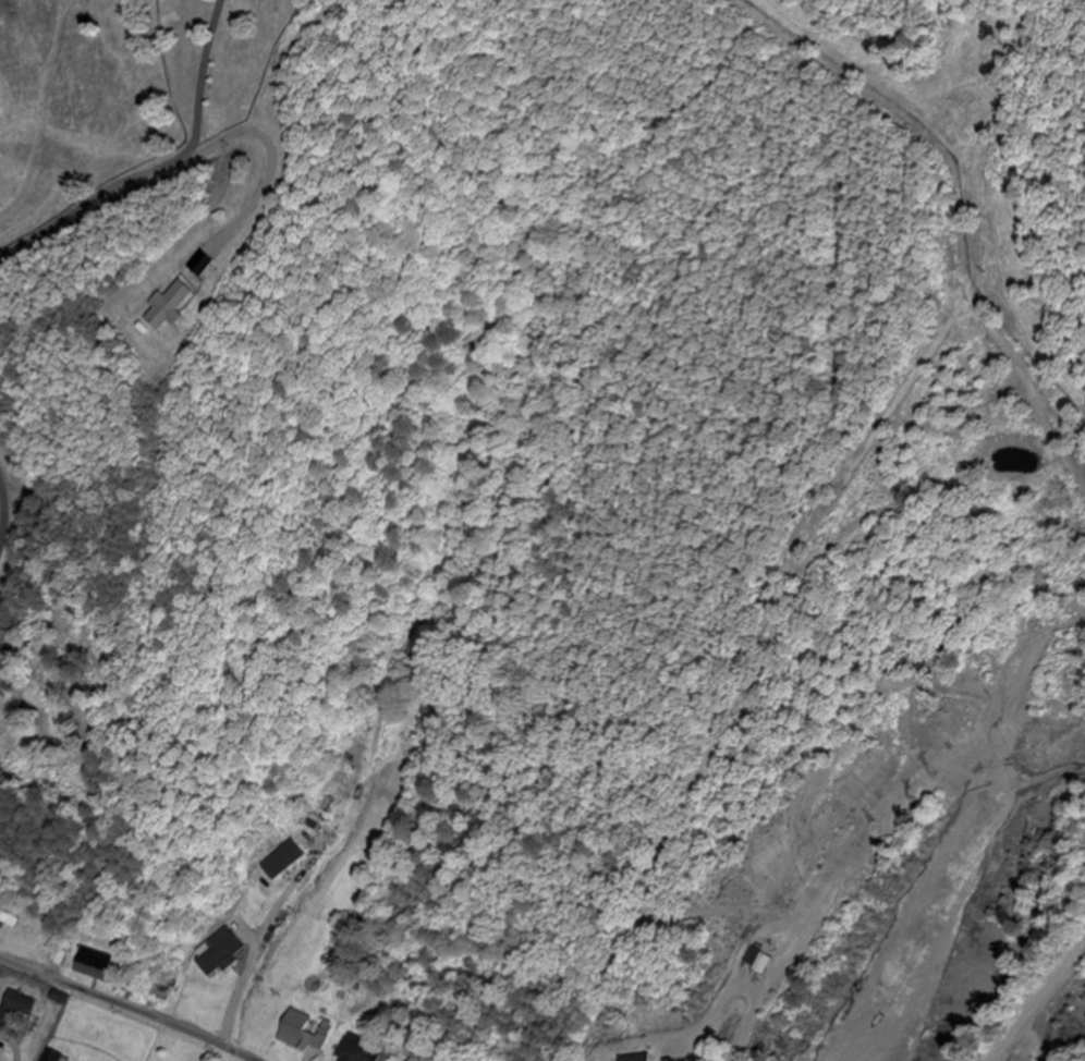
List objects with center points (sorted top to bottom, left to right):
building: (175, 306)
building: (276, 870)
building: (9, 922)
building: (219, 955)
building: (94, 965)
building: (764, 966)
road: (125, 1008)
building: (16, 1011)
building: (301, 1034)
building: (361, 1052)
building: (52, 1057)
building: (636, 1059)

